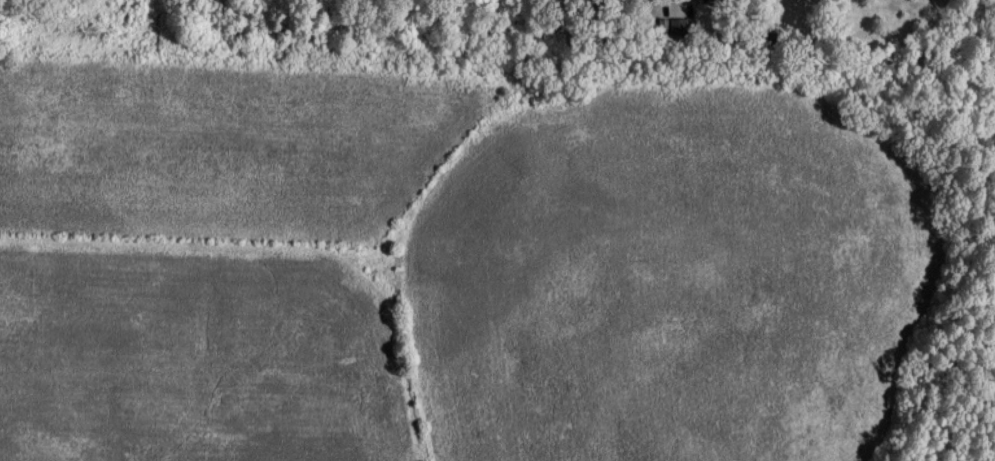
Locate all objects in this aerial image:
building: (702, 0)
building: (678, 24)

